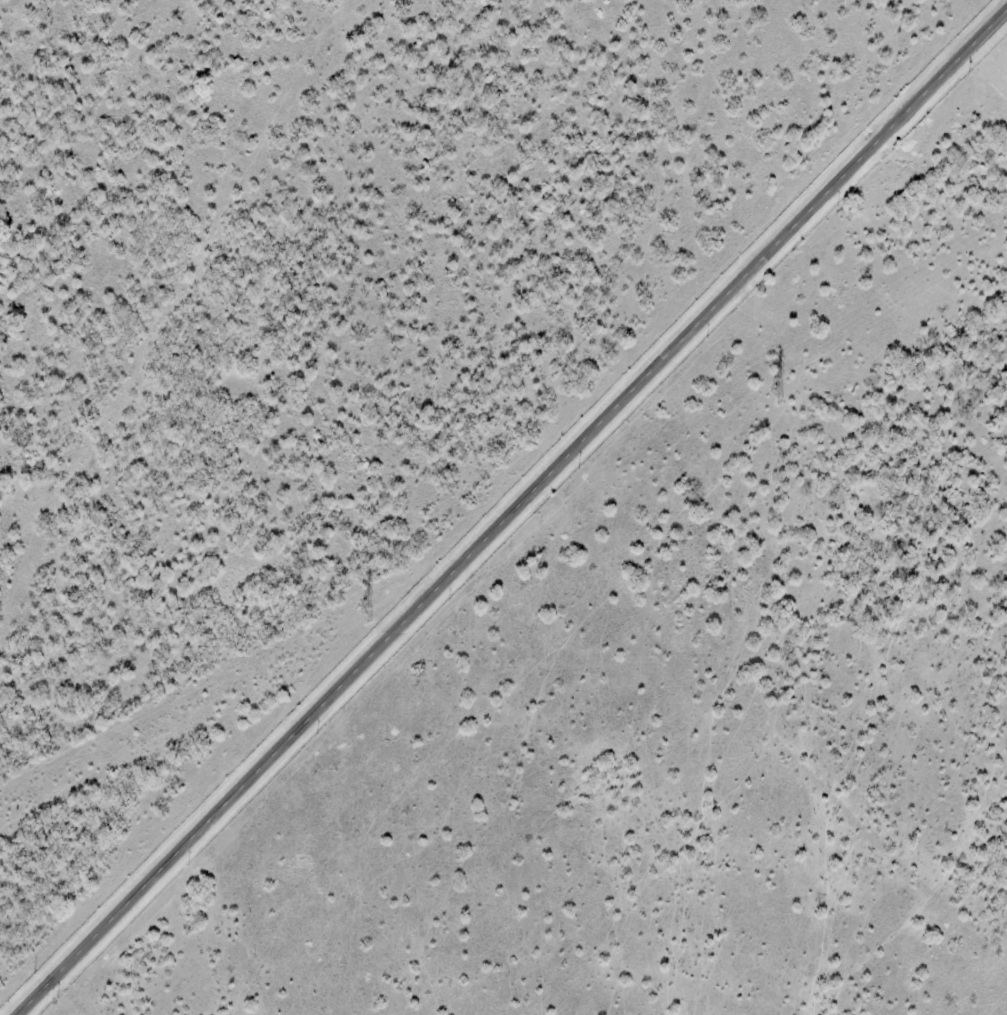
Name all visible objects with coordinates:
power tower: (773, 396)
road: (514, 514)
power tower: (362, 614)

